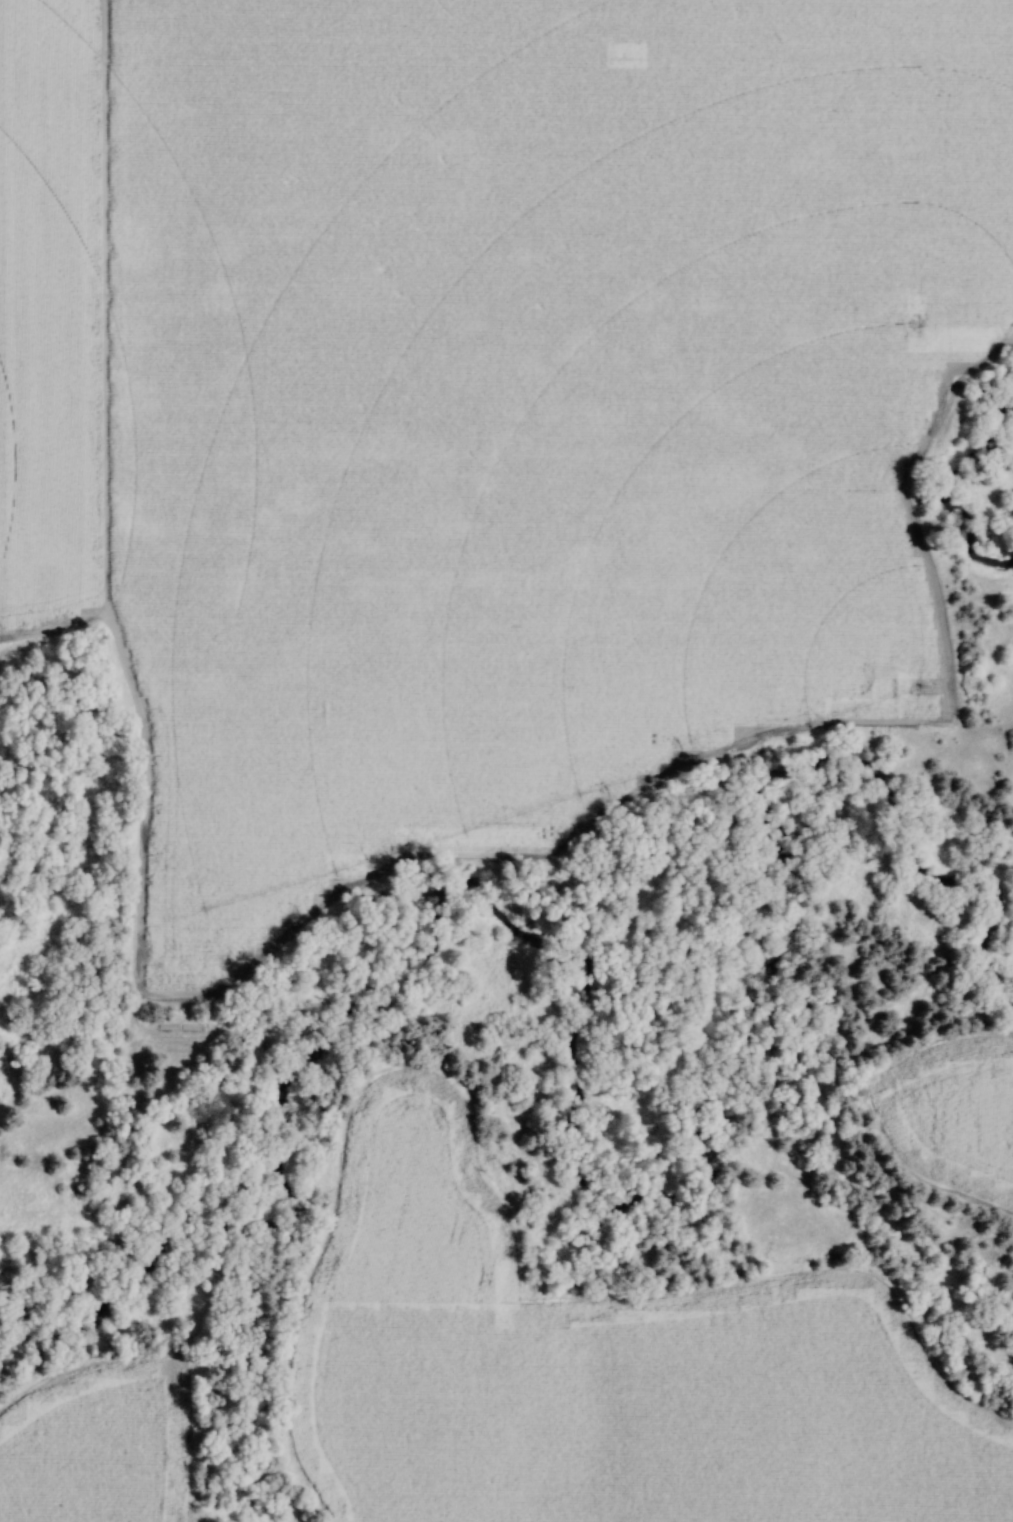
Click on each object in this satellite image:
crop: (49, 301)
crop: (524, 398)

